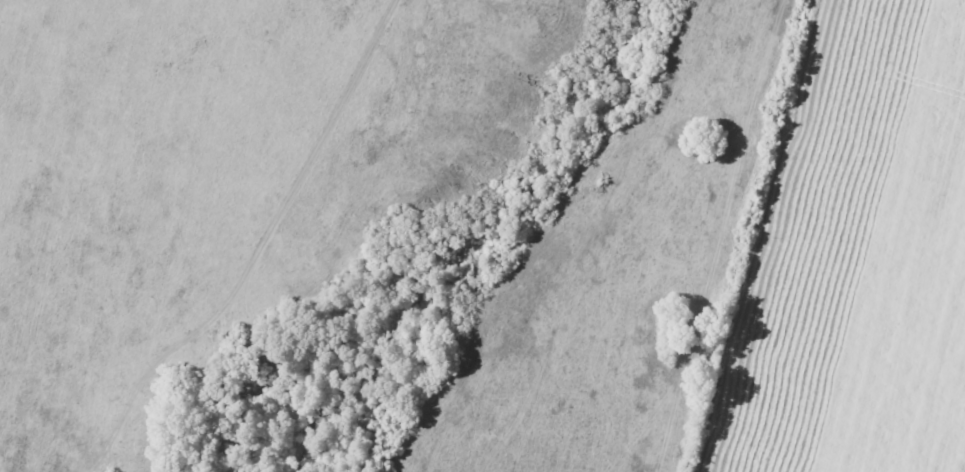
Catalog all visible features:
road: (260, 239)

